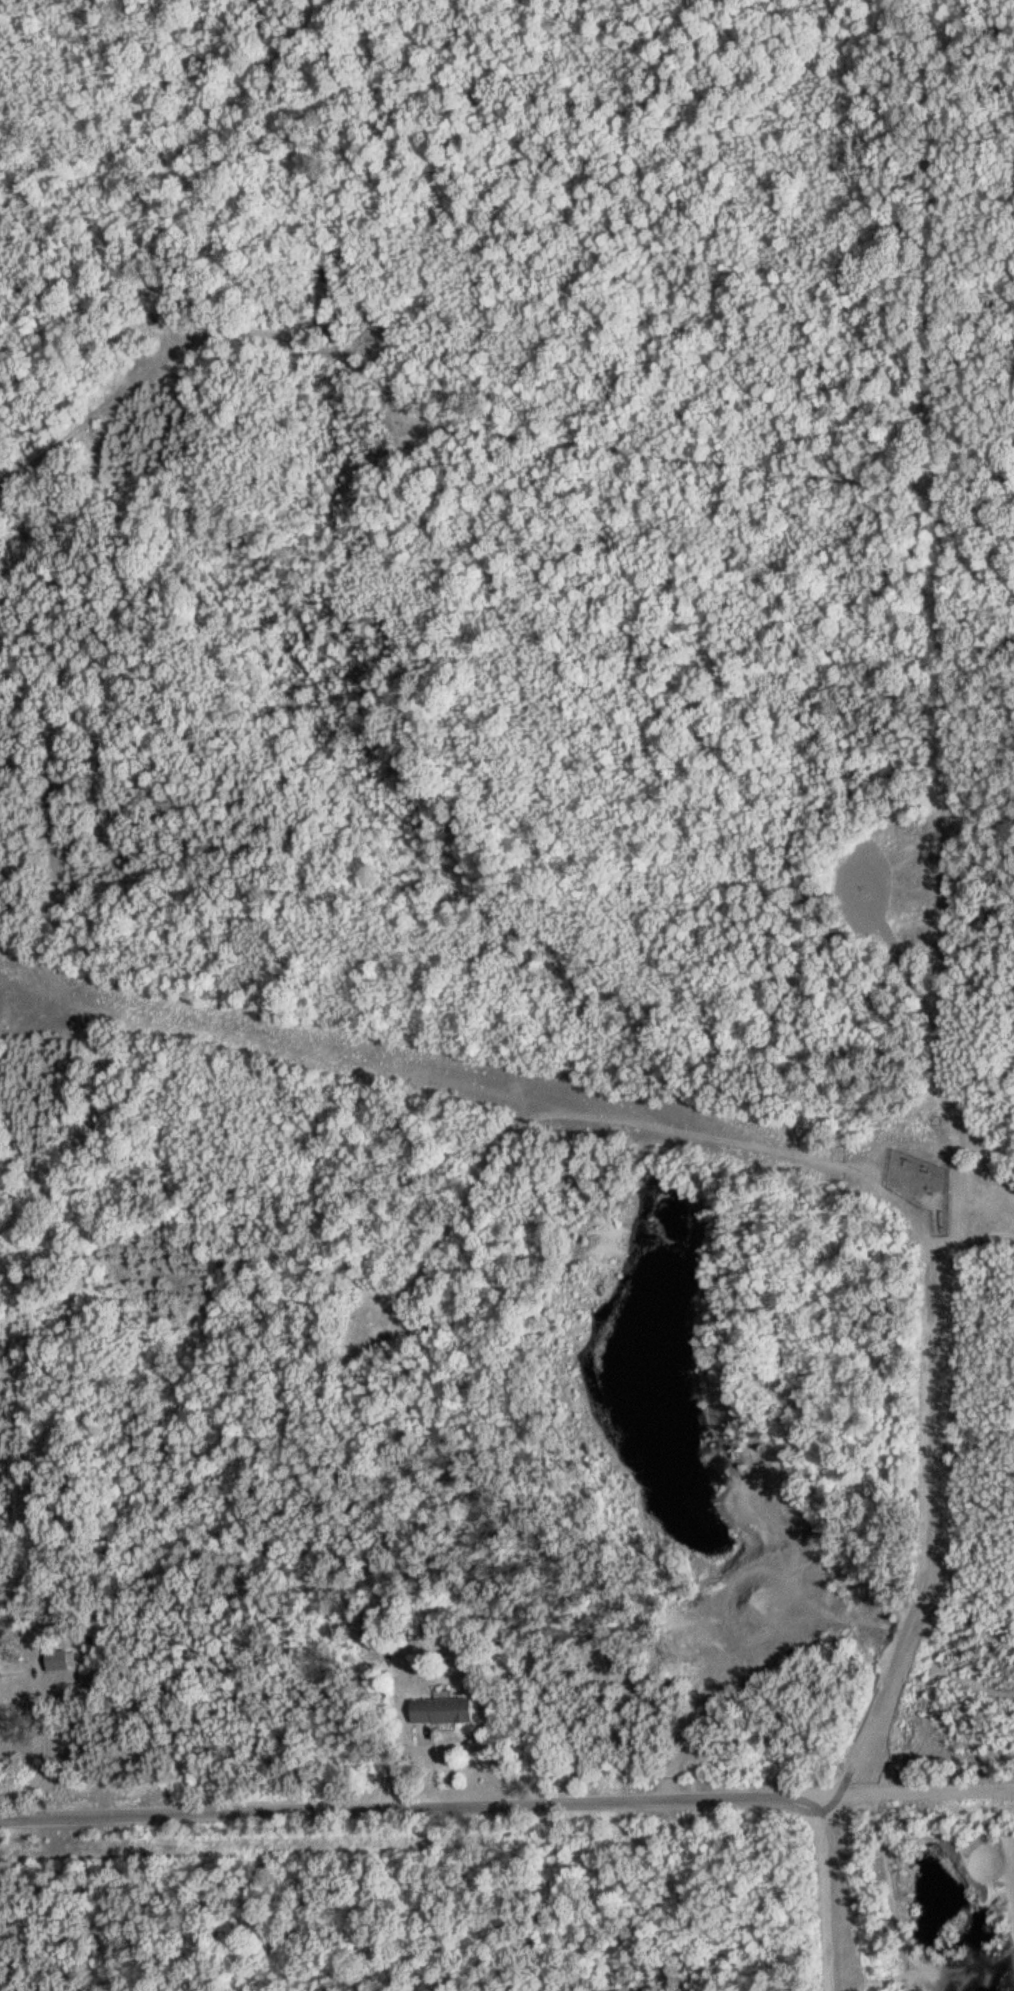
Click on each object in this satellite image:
road: (978, 33)
road: (944, 575)
road: (981, 1151)
road: (930, 1559)
building: (52, 1661)
building: (435, 1711)
road: (507, 1806)

